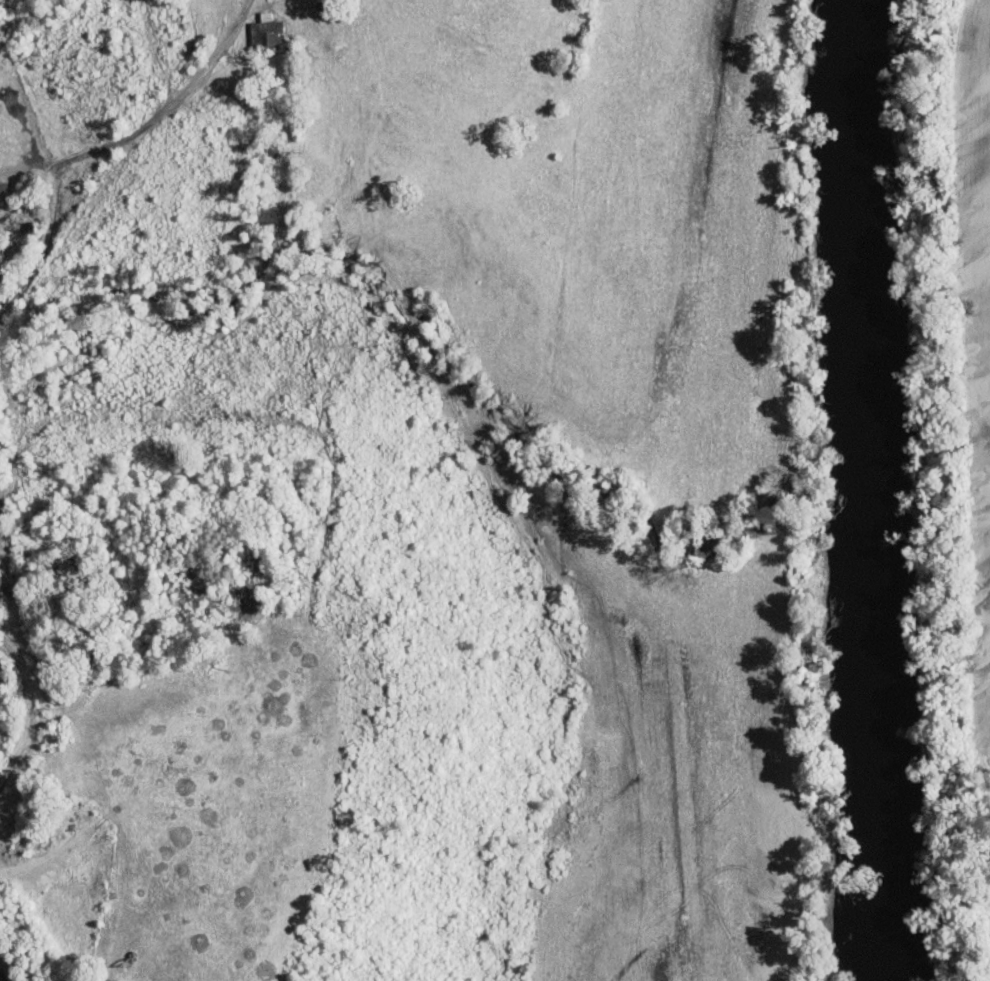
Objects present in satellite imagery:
building: (264, 30)
road: (85, 152)
river: (856, 246)
road: (29, 708)
river: (876, 737)

